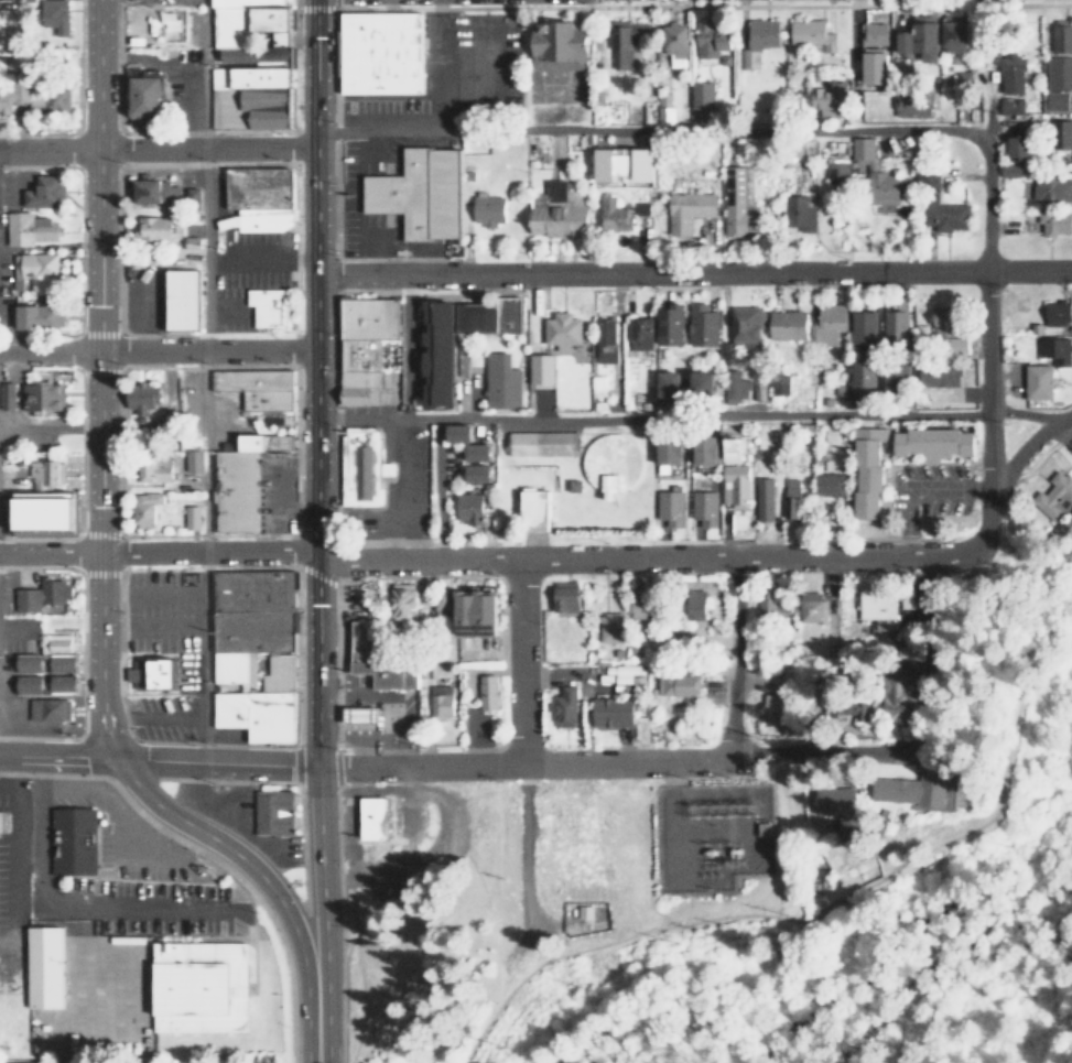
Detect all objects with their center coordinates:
building: (52, 18)
building: (808, 33)
building: (760, 34)
building: (708, 36)
building: (624, 40)
building: (555, 42)
building: (672, 43)
building: (939, 43)
building: (873, 51)
building: (378, 52)
building: (249, 64)
building: (1058, 64)
building: (1010, 70)
building: (700, 93)
building: (12, 94)
building: (142, 95)
building: (826, 97)
building: (52, 99)
building: (909, 102)
building: (1009, 104)
building: (661, 107)
road: (714, 130)
building: (1059, 133)
building: (1016, 147)
road: (156, 149)
building: (625, 163)
building: (837, 173)
building: (875, 173)
building: (1040, 184)
building: (43, 192)
building: (153, 192)
building: (421, 193)
building: (255, 199)
building: (933, 202)
building: (685, 209)
building: (486, 210)
building: (554, 211)
building: (797, 213)
building: (611, 214)
building: (736, 216)
building: (1052, 221)
building: (30, 229)
building: (152, 229)
building: (34, 263)
road: (693, 273)
building: (182, 300)
building: (267, 308)
building: (1054, 314)
building: (46, 316)
building: (487, 317)
building: (683, 319)
building: (826, 323)
building: (703, 325)
building: (784, 325)
building: (744, 326)
building: (862, 326)
building: (894, 327)
building: (561, 330)
building: (639, 332)
building: (946, 332)
building: (604, 338)
building: (364, 346)
building: (1044, 348)
building: (436, 349)
road: (158, 350)
building: (463, 360)
building: (542, 368)
building: (940, 376)
building: (862, 377)
building: (894, 378)
road: (986, 380)
building: (500, 381)
building: (1036, 382)
building: (700, 386)
building: (665, 387)
building: (257, 388)
building: (737, 389)
building: (7, 395)
building: (41, 395)
building: (145, 400)
road: (689, 420)
road: (50, 430)
building: (461, 433)
building: (931, 442)
building: (541, 444)
road: (1027, 446)
building: (706, 448)
building: (480, 452)
building: (671, 452)
building: (193, 459)
building: (608, 464)
building: (152, 469)
building: (361, 469)
building: (865, 470)
building: (44, 471)
building: (479, 473)
building: (827, 484)
building: (236, 488)
road: (315, 491)
building: (735, 492)
building: (761, 496)
building: (1053, 496)
building: (789, 498)
building: (532, 506)
building: (670, 507)
building: (705, 507)
building: (143, 508)
building: (468, 508)
building: (40, 510)
building: (190, 518)
road: (98, 534)
road: (158, 553)
road: (672, 557)
road: (149, 566)
road: (371, 577)
building: (43, 594)
building: (563, 595)
building: (400, 601)
building: (441, 601)
building: (874, 605)
building: (692, 606)
building: (769, 606)
building: (637, 608)
building: (810, 609)
road: (195, 611)
building: (473, 612)
building: (608, 626)
road: (299, 646)
road: (83, 652)
building: (253, 652)
road: (120, 653)
road: (733, 655)
building: (377, 660)
road: (521, 661)
building: (50, 668)
building: (153, 674)
building: (674, 683)
building: (487, 693)
road: (195, 695)
building: (438, 696)
building: (895, 696)
building: (562, 705)
building: (772, 706)
building: (847, 707)
building: (50, 709)
building: (609, 711)
road: (165, 716)
building: (362, 717)
road: (54, 737)
road: (210, 742)
road: (418, 748)
road: (87, 757)
road: (156, 761)
road: (616, 763)
road: (65, 773)
road: (214, 779)
road: (348, 783)
building: (907, 789)
building: (835, 809)
building: (271, 812)
road: (120, 817)
road: (145, 817)
building: (371, 817)
road: (139, 820)
power substation: (708, 833)
road: (788, 835)
building: (73, 839)
road: (299, 850)
park: (996, 852)
road: (527, 860)
road: (69, 900)
road: (251, 905)
road: (830, 909)
building: (585, 911)
road: (340, 914)
road: (277, 937)
road: (519, 944)
building: (45, 967)
road: (931, 968)
road: (359, 969)
building: (202, 986)
road: (314, 1022)
road: (357, 1035)
building: (21, 1062)

